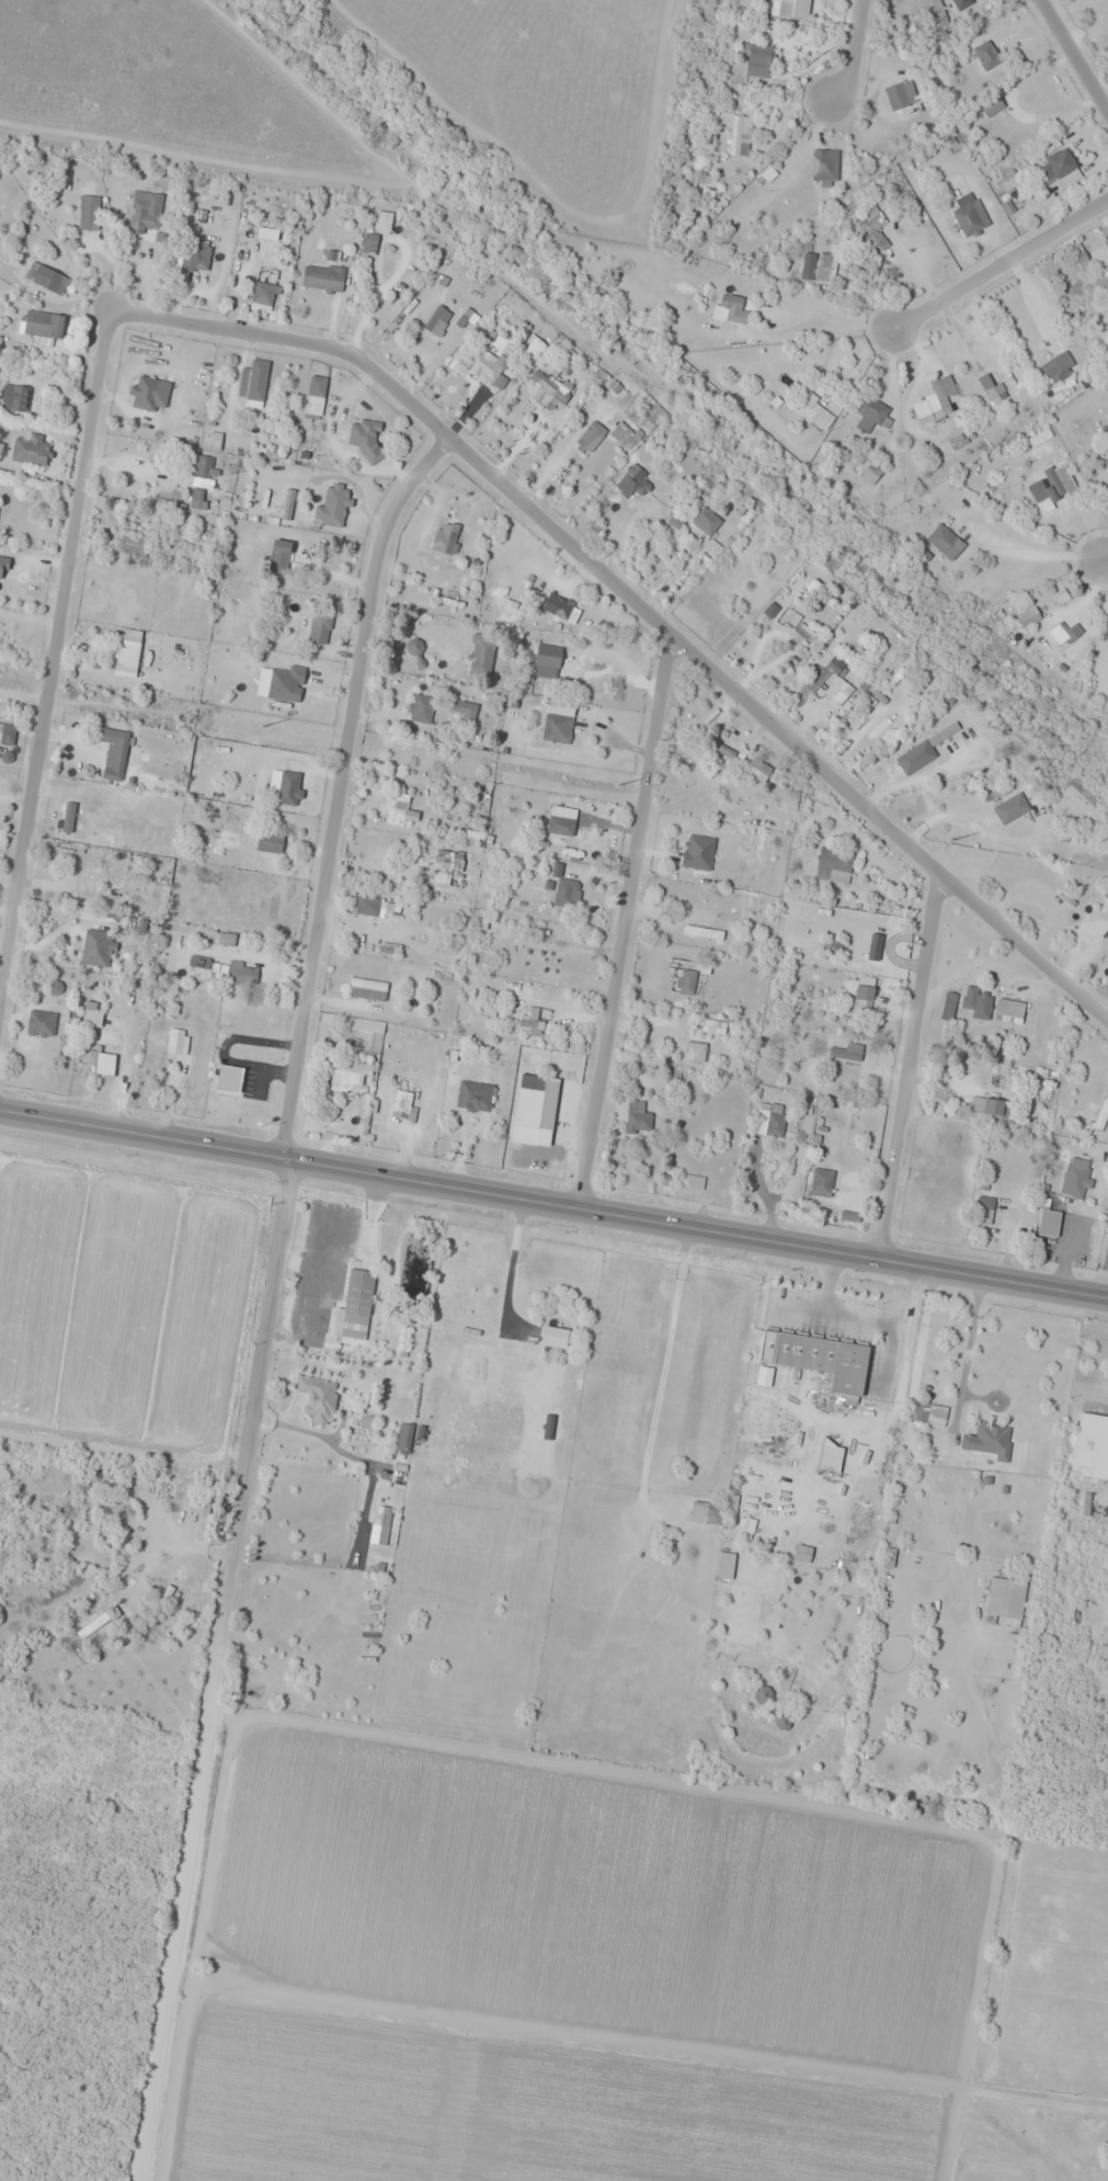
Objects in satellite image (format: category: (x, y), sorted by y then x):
building: (786, 7)
building: (938, 7)
road: (856, 54)
building: (985, 55)
road: (1073, 56)
building: (758, 59)
building: (900, 93)
building: (991, 105)
building: (738, 134)
building: (949, 145)
building: (821, 166)
building: (1058, 167)
building: (88, 211)
building: (141, 214)
building: (971, 217)
building: (382, 219)
building: (867, 219)
building: (195, 254)
building: (1078, 257)
building: (807, 264)
road: (996, 265)
building: (46, 276)
building: (322, 277)
building: (262, 296)
building: (395, 296)
building: (730, 300)
building: (437, 319)
building: (44, 325)
building: (484, 363)
building: (1058, 366)
building: (253, 379)
building: (990, 386)
building: (546, 389)
building: (148, 393)
building: (19, 397)
building: (935, 399)
building: (651, 408)
building: (812, 411)
building: (870, 413)
building: (590, 435)
building: (366, 436)
building: (214, 440)
building: (31, 448)
building: (867, 465)
building: (204, 470)
building: (1059, 478)
building: (632, 480)
building: (197, 498)
building: (287, 503)
building: (333, 507)
building: (445, 536)
building: (944, 541)
building: (133, 544)
building: (278, 555)
road: (1105, 556)
building: (3, 566)
building: (990, 586)
road: (637, 605)
building: (564, 607)
building: (319, 626)
building: (1067, 631)
road: (52, 637)
building: (414, 646)
building: (125, 654)
building: (547, 660)
building: (285, 682)
building: (836, 683)
building: (419, 707)
building: (466, 709)
building: (557, 727)
building: (872, 728)
building: (7, 732)
building: (924, 747)
building: (114, 751)
building: (756, 769)
road: (340, 786)
building: (935, 795)
building: (1009, 807)
building: (399, 809)
building: (560, 825)
building: (1064, 838)
building: (269, 842)
building: (697, 851)
building: (450, 861)
building: (833, 865)
building: (90, 876)
building: (567, 893)
building: (717, 904)
building: (367, 905)
road: (621, 919)
building: (707, 932)
building: (98, 947)
building: (241, 972)
building: (684, 980)
building: (367, 988)
building: (863, 998)
building: (976, 1001)
building: (1017, 1008)
building: (92, 1013)
building: (534, 1021)
building: (41, 1023)
building: (369, 1024)
building: (710, 1024)
building: (179, 1038)
building: (694, 1050)
building: (847, 1050)
building: (104, 1063)
road: (906, 1068)
building: (349, 1075)
building: (475, 1095)
building: (401, 1103)
building: (534, 1107)
building: (989, 1107)
building: (1103, 1111)
building: (637, 1116)
building: (774, 1118)
building: (1076, 1177)
building: (693, 1181)
building: (820, 1181)
road: (553, 1201)
building: (982, 1209)
building: (1048, 1222)
building: (357, 1303)
building: (818, 1359)
building: (317, 1398)
building: (921, 1412)
building: (403, 1436)
building: (987, 1439)
building: (1090, 1446)
building: (829, 1456)
building: (147, 1474)
building: (178, 1485)
building: (713, 1511)
building: (380, 1515)
building: (801, 1553)
building: (724, 1566)
building: (178, 1599)
building: (1005, 1599)
building: (101, 1624)
road: (212, 1669)
building: (761, 1694)
building: (781, 1722)

